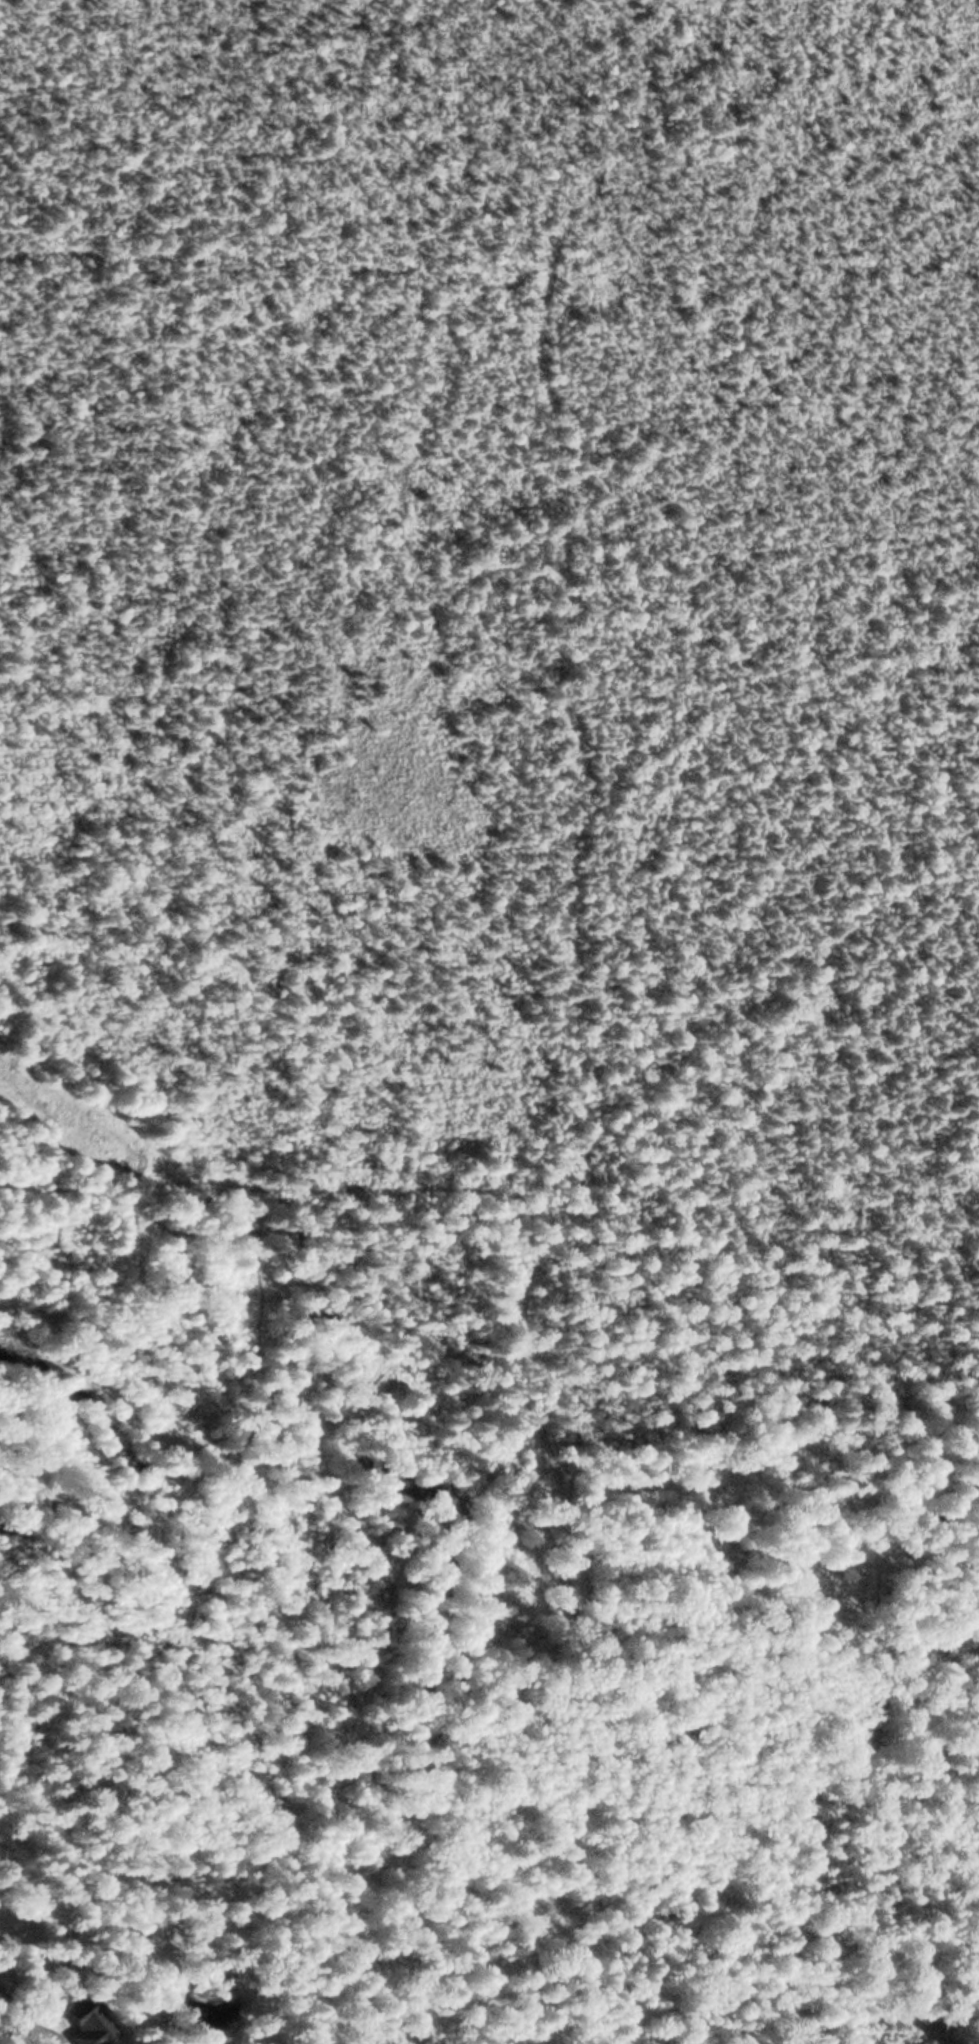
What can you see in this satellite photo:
building: (83, 2020)

